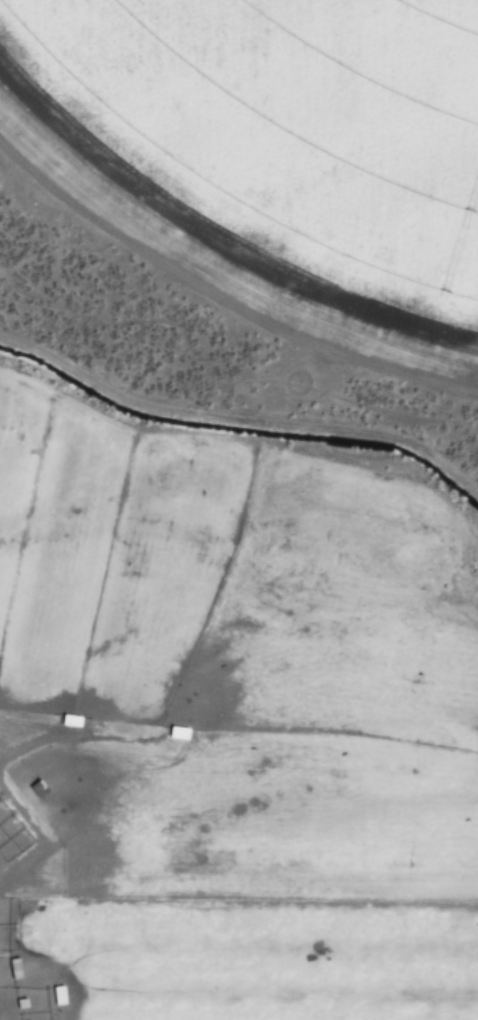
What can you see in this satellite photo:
building: (14, 969)

